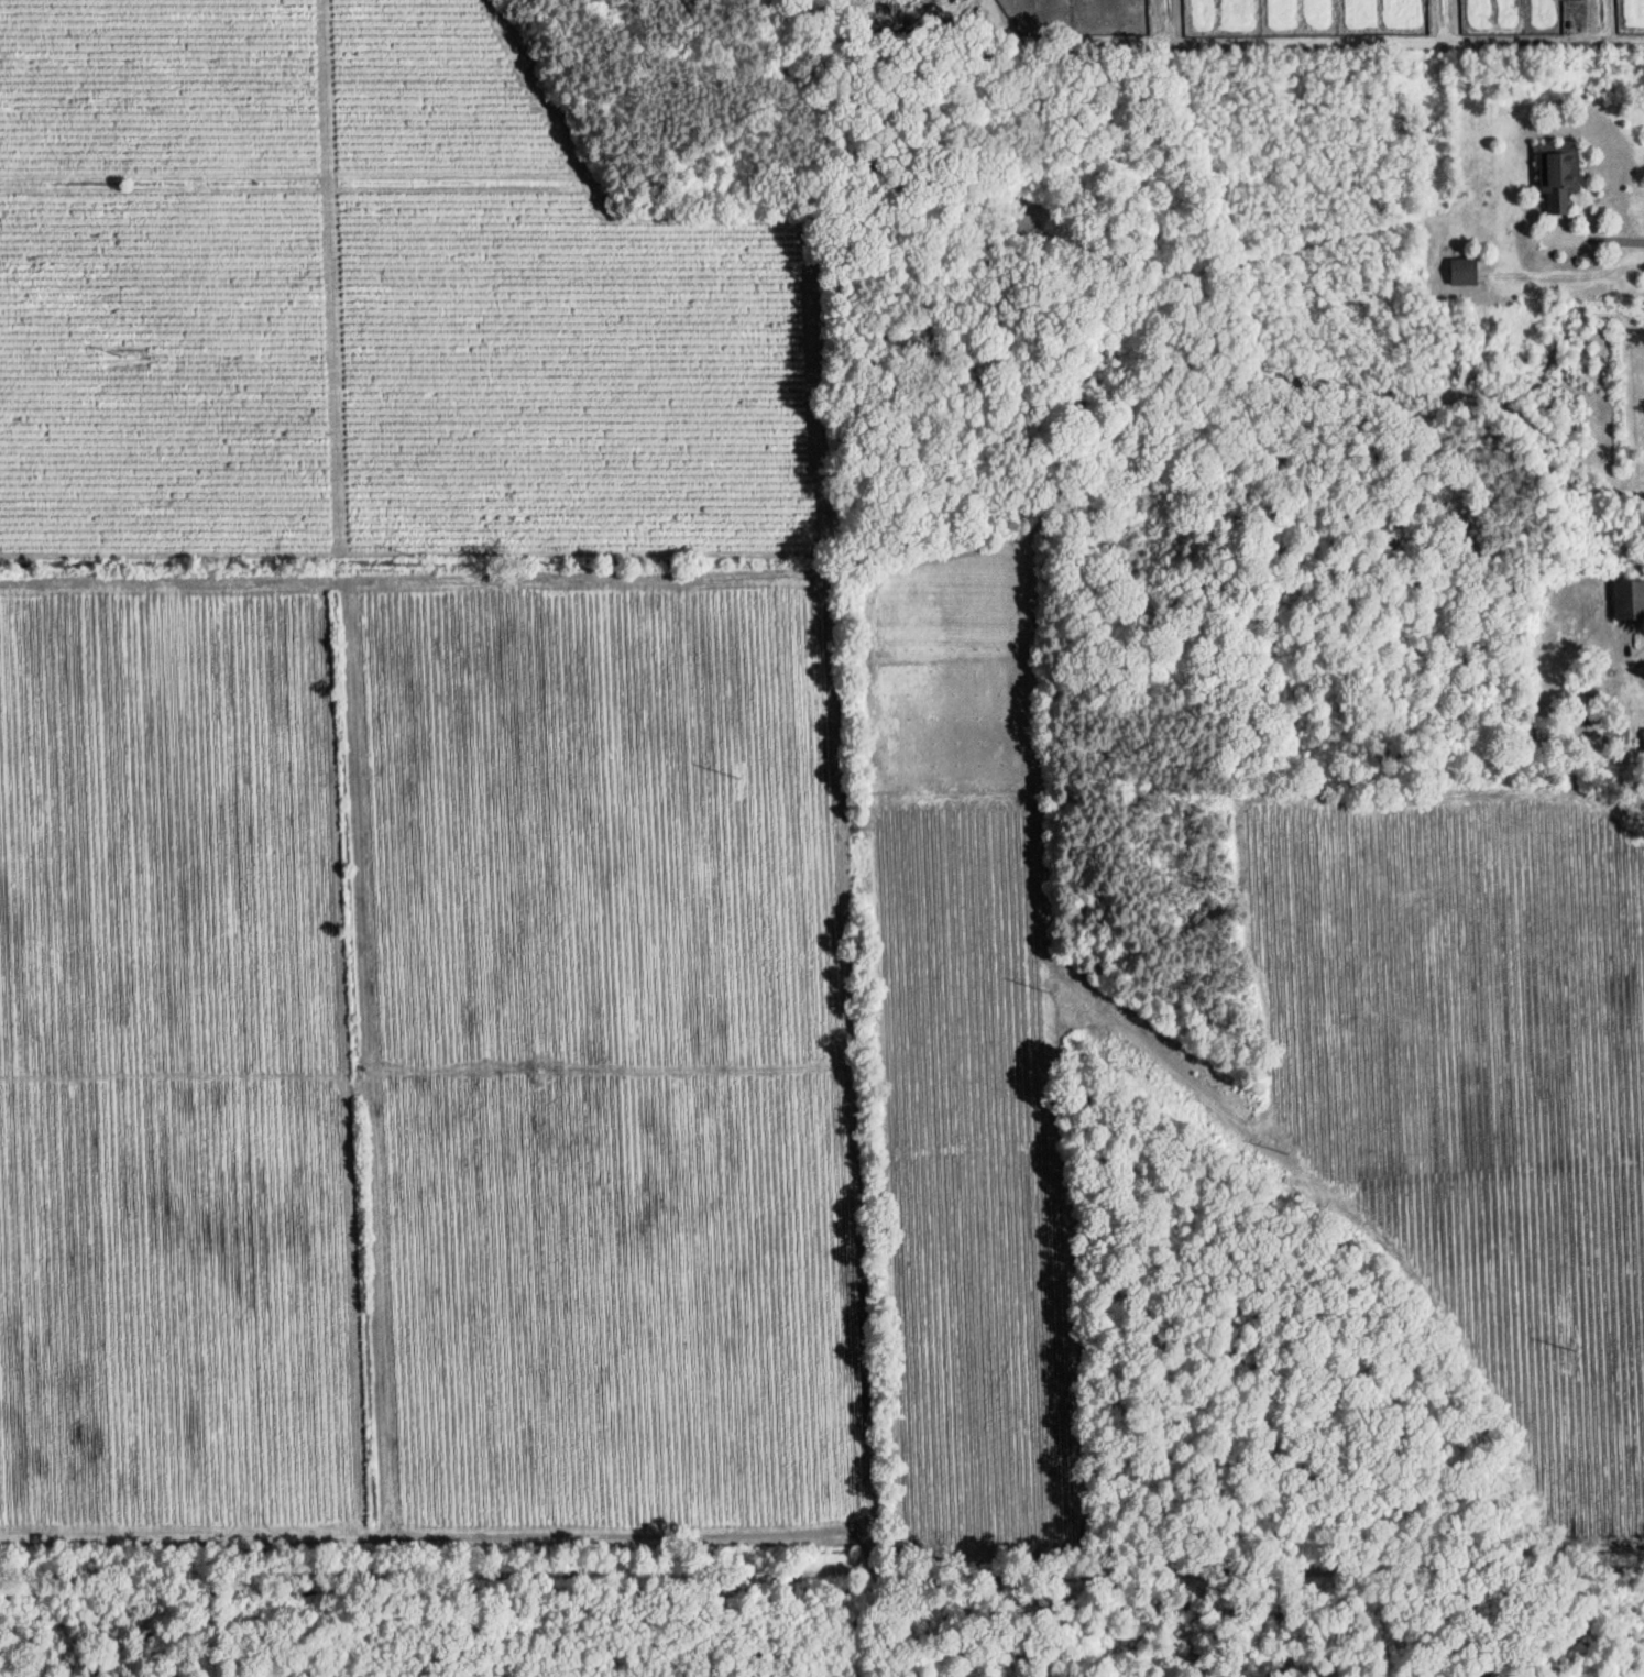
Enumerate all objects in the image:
building: (1557, 175)
road: (1600, 238)
building: (1461, 272)
building: (1627, 600)
building: (1643, 748)

